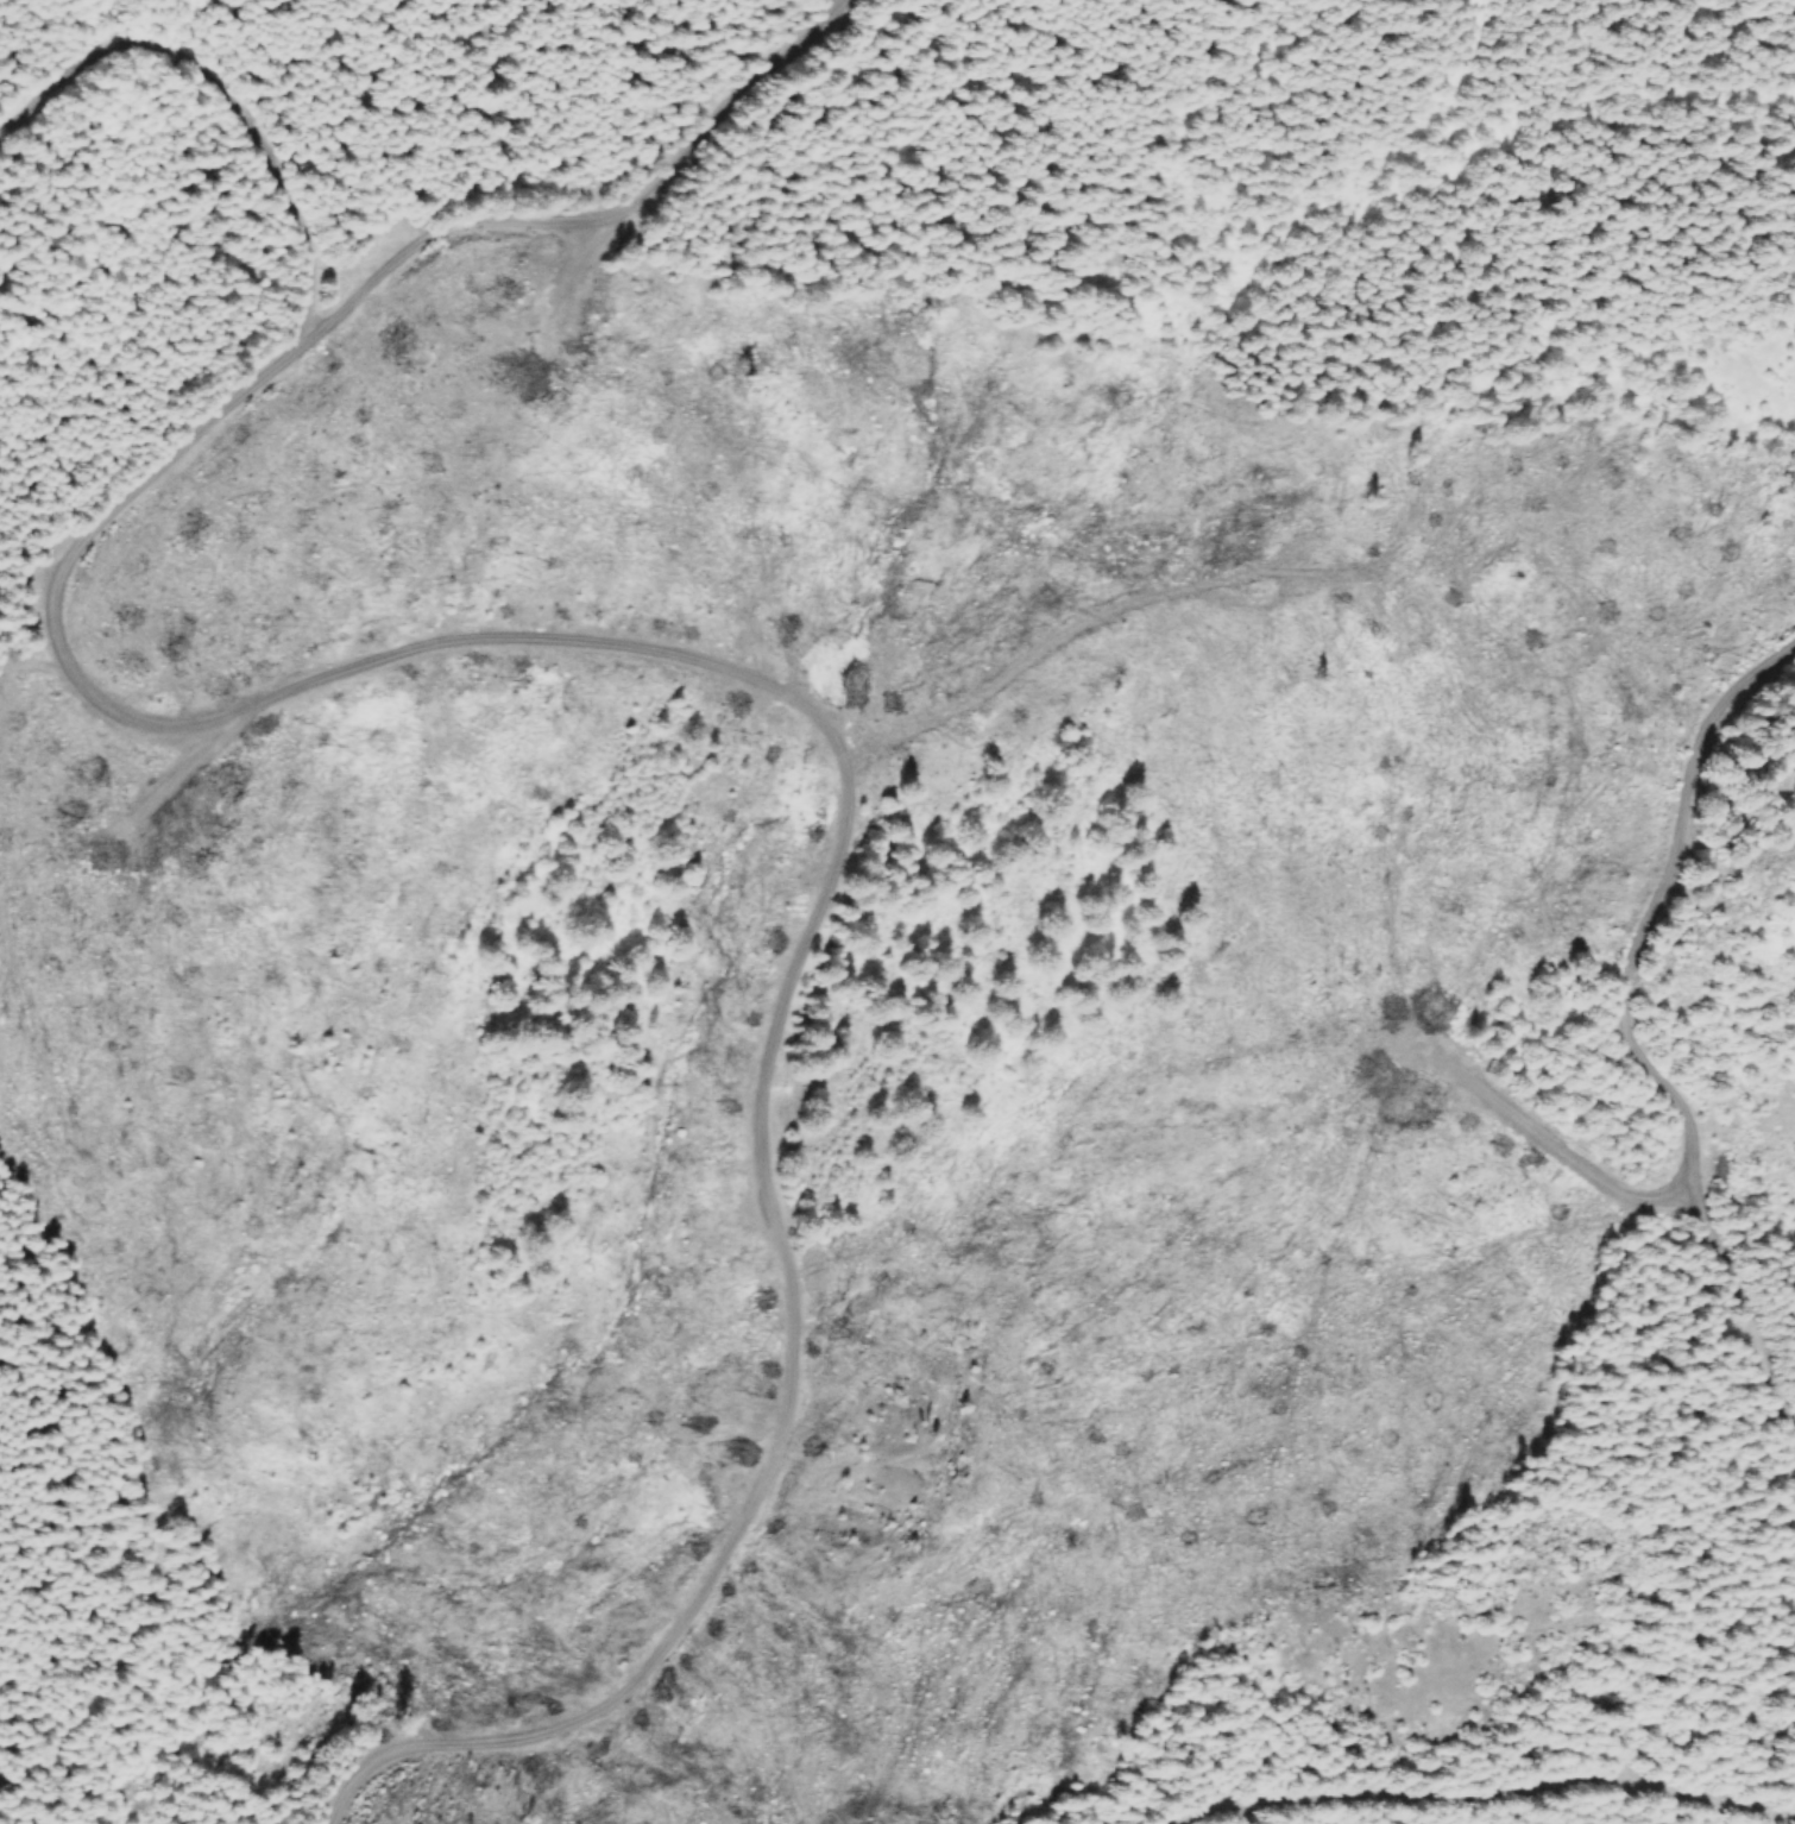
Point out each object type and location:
road: (569, 220)
road: (630, 650)
road: (1630, 1030)
road: (1498, 1803)

